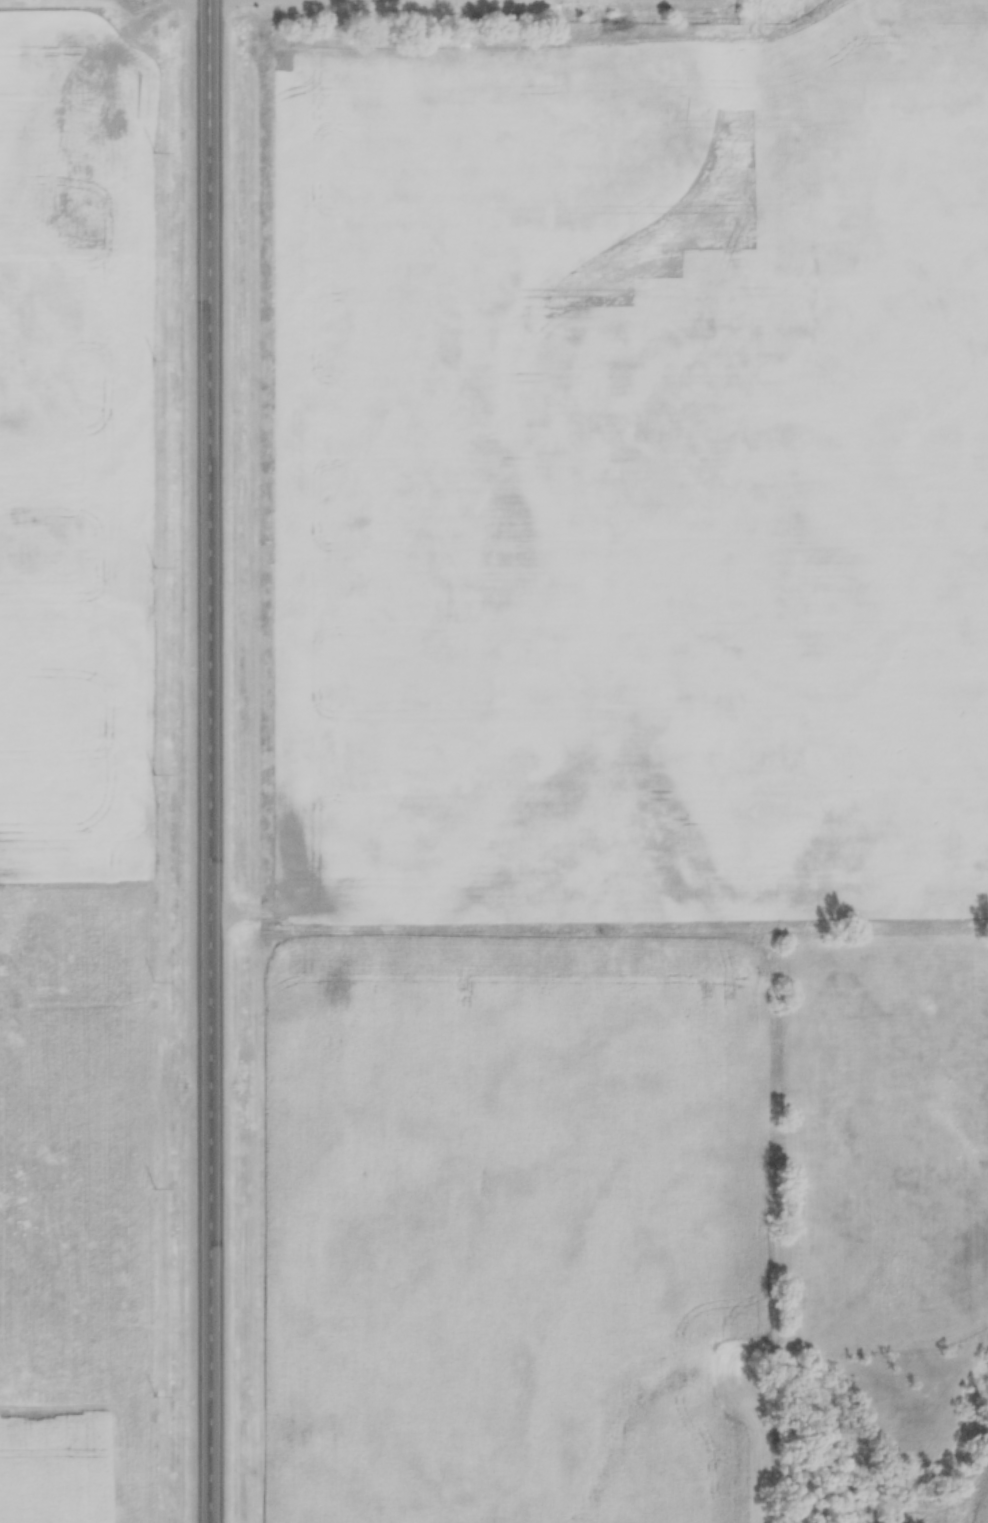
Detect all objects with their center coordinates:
road: (211, 761)

